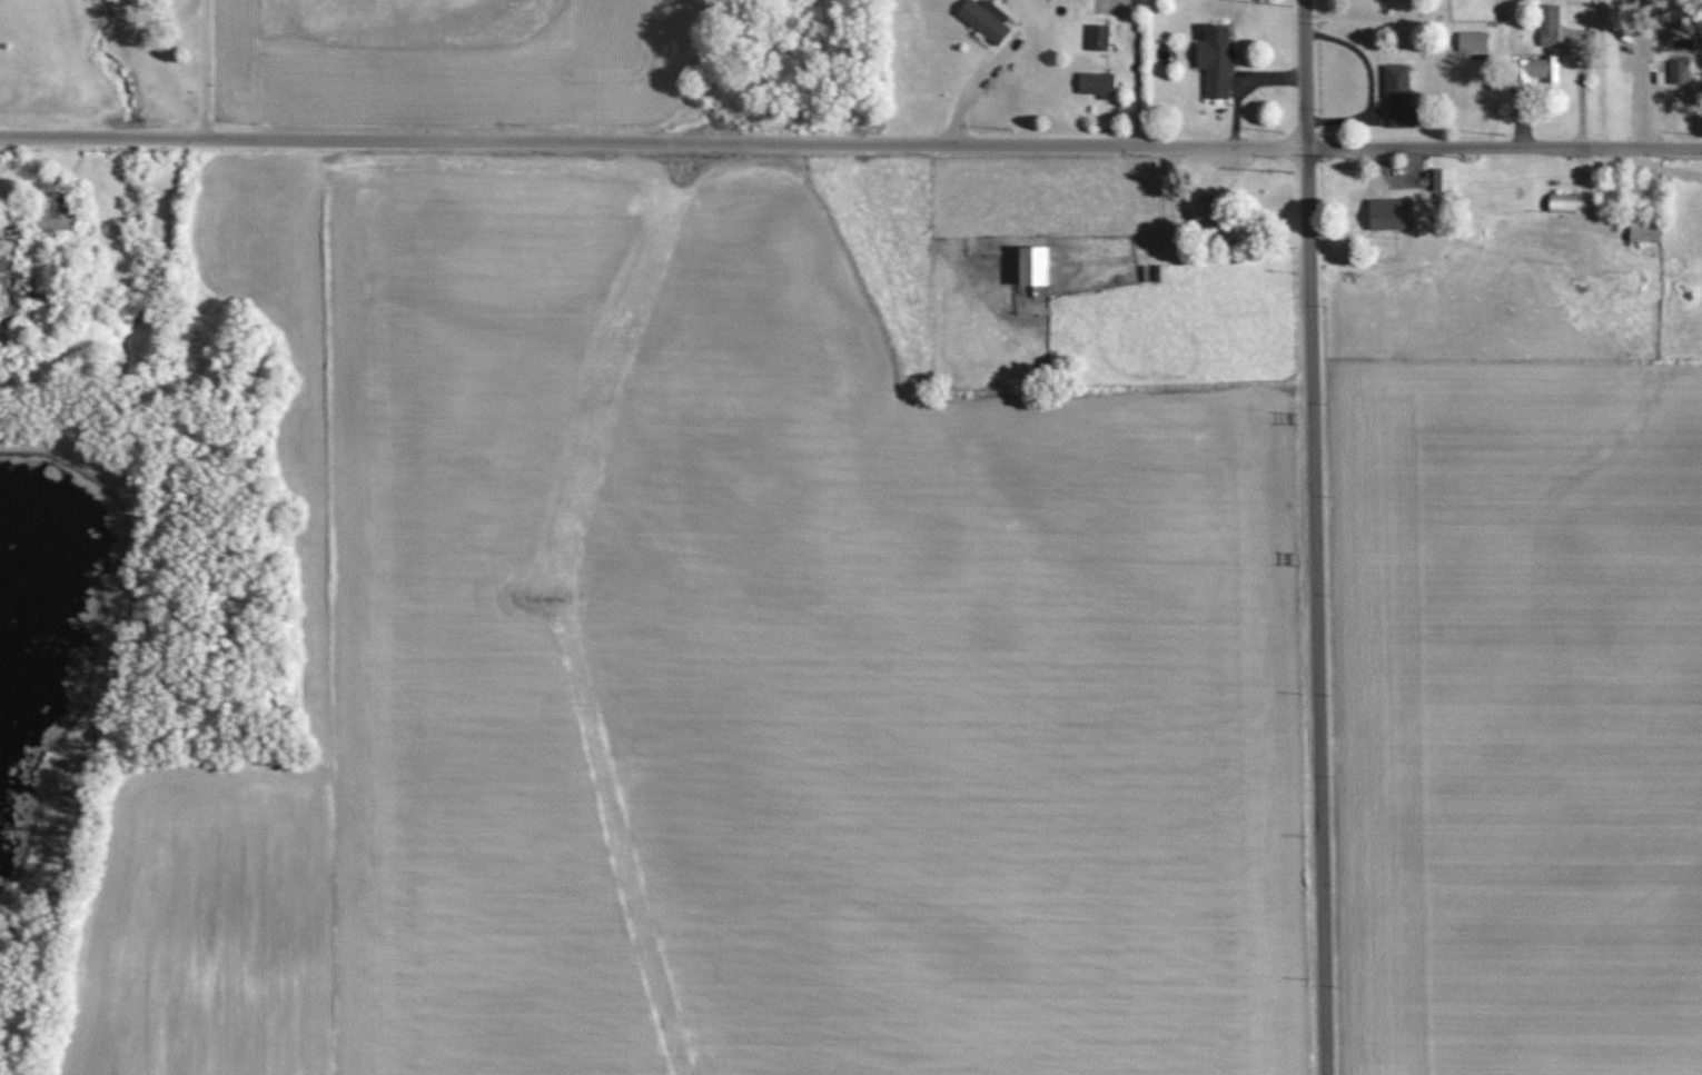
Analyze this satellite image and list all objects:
building: (983, 19)
building: (1548, 24)
building: (1097, 37)
building: (1472, 41)
building: (1216, 60)
road: (202, 69)
building: (1537, 70)
building: (1096, 83)
building: (1398, 96)
road: (851, 141)
building: (1442, 180)
building: (1562, 203)
building: (1389, 215)
building: (1206, 217)
building: (52, 225)
building: (1643, 231)
building: (1031, 267)
building: (1159, 273)
road: (1306, 537)

